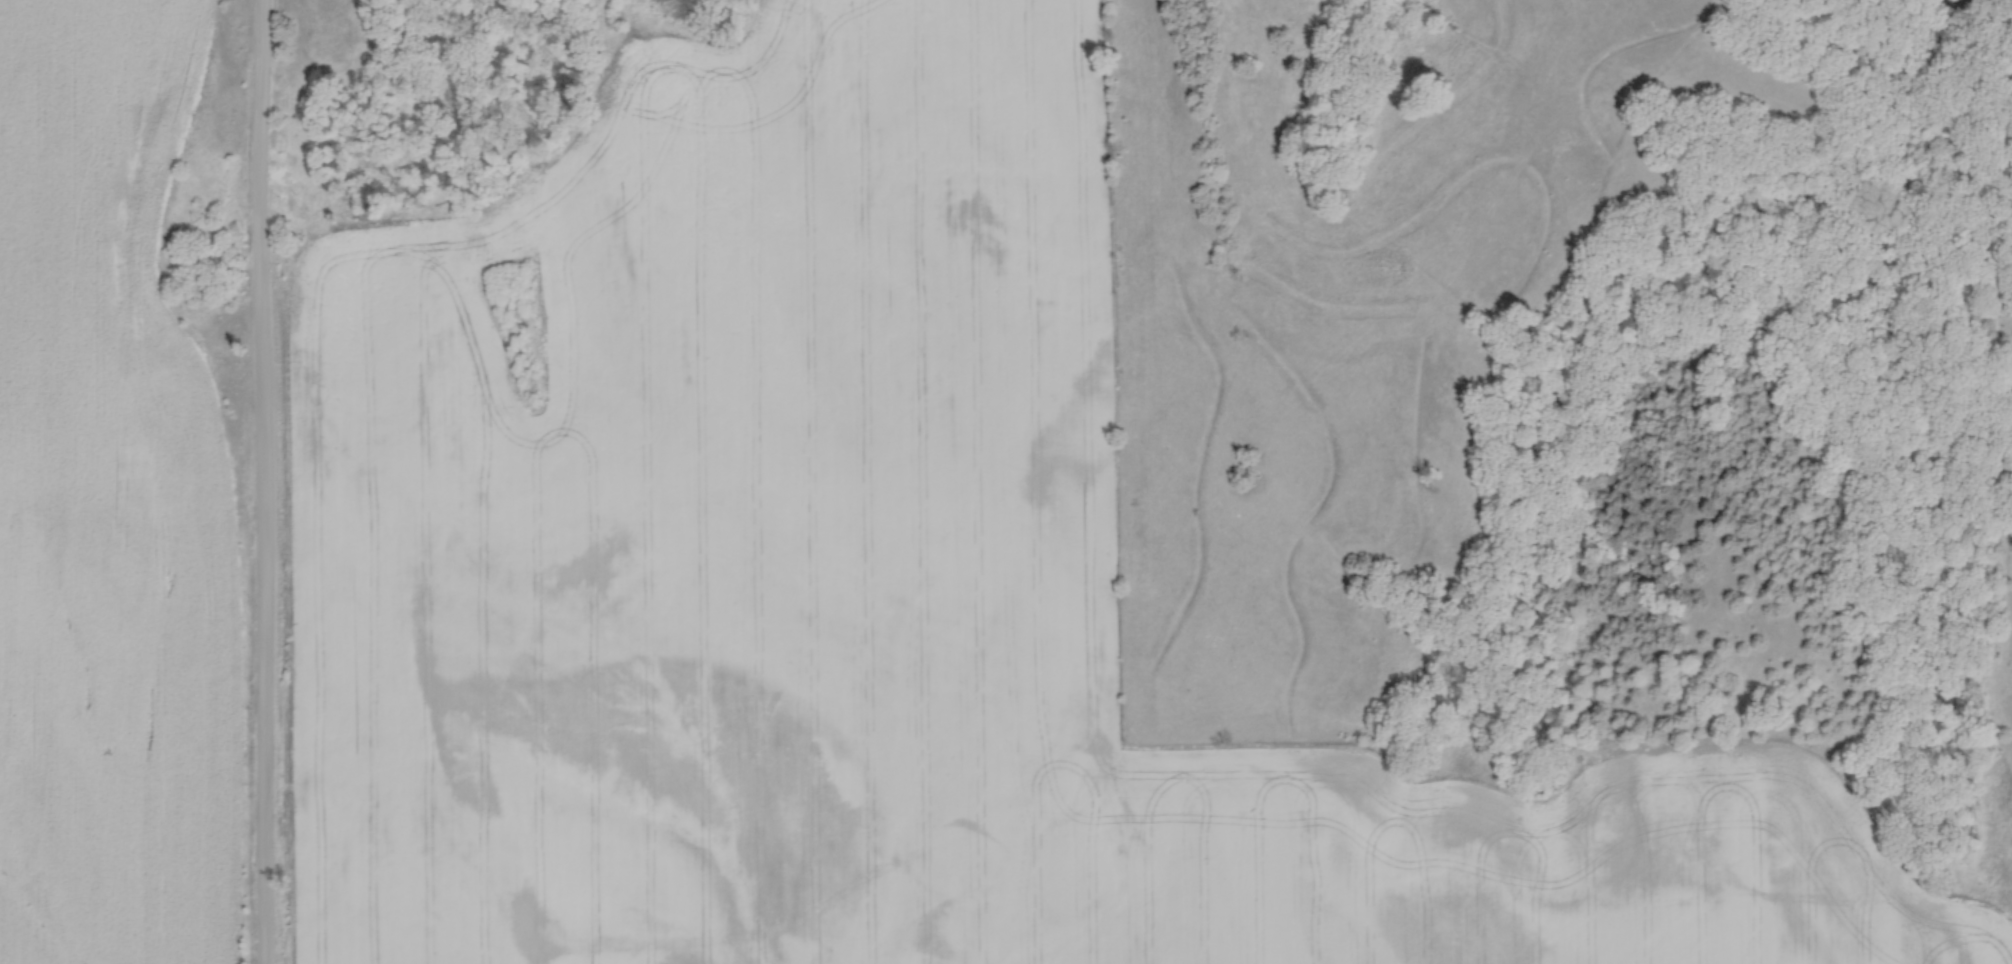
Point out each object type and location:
road: (266, 481)

